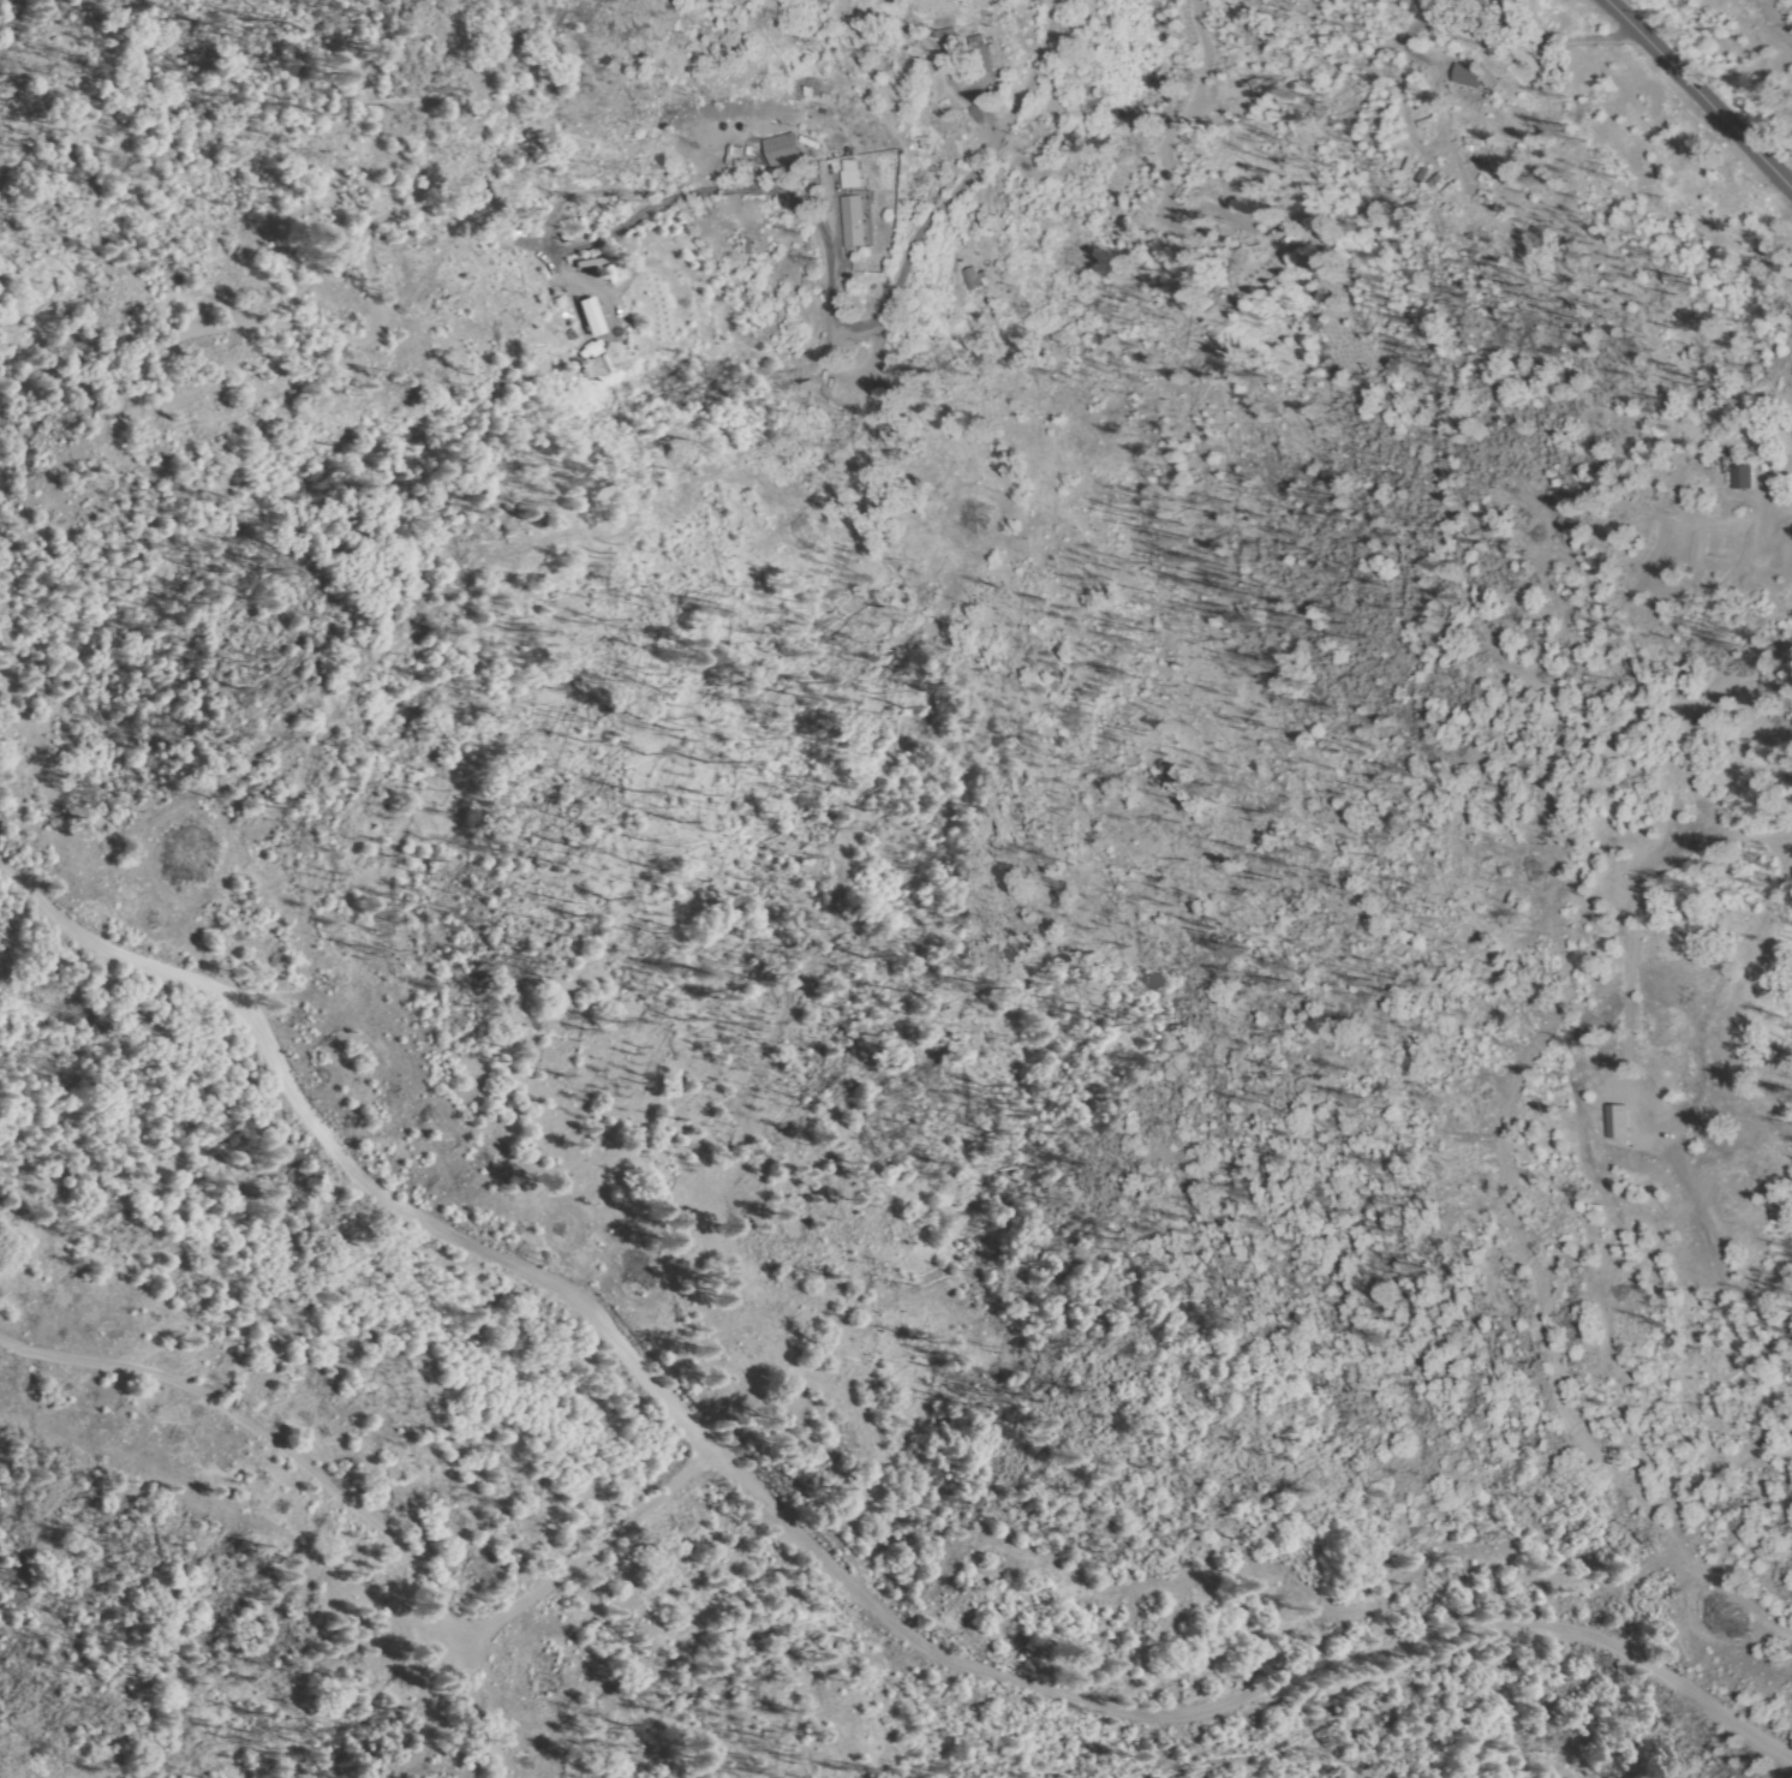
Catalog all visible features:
building: (1462, 78)
building: (1258, 90)
road: (1701, 94)
building: (746, 124)
building: (1428, 125)
building: (1473, 145)
building: (787, 148)
building: (1487, 161)
building: (1400, 172)
building: (860, 174)
building: (850, 179)
building: (1429, 180)
building: (1481, 181)
building: (1444, 187)
road: (689, 198)
building: (860, 221)
building: (1154, 239)
building: (979, 279)
building: (595, 317)
building: (604, 368)
building: (1736, 476)
building: (1743, 499)
building: (1623, 1122)
road: (321, 1481)
road: (813, 1537)
road: (599, 1557)

